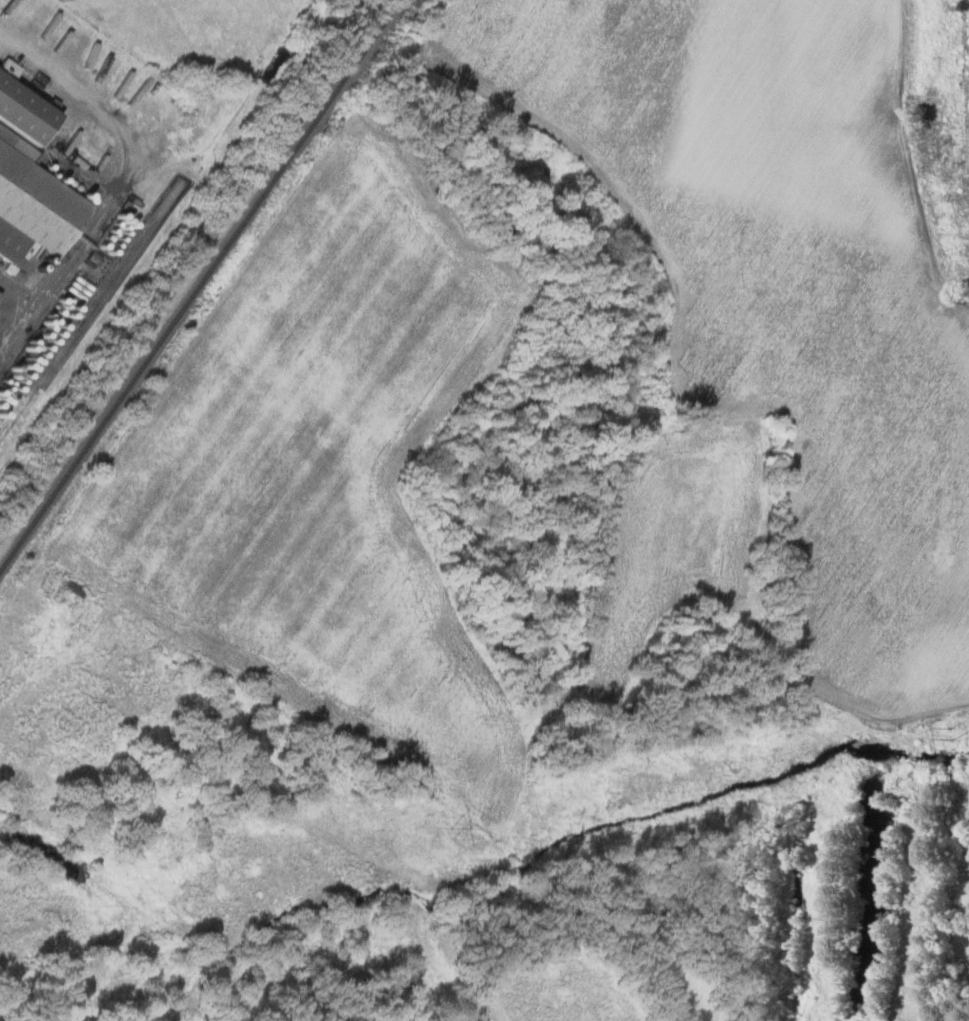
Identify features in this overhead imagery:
building: (31, 179)
road: (118, 180)
railway: (197, 285)
railway: (89, 309)
power tower: (950, 733)
power tower: (451, 833)

